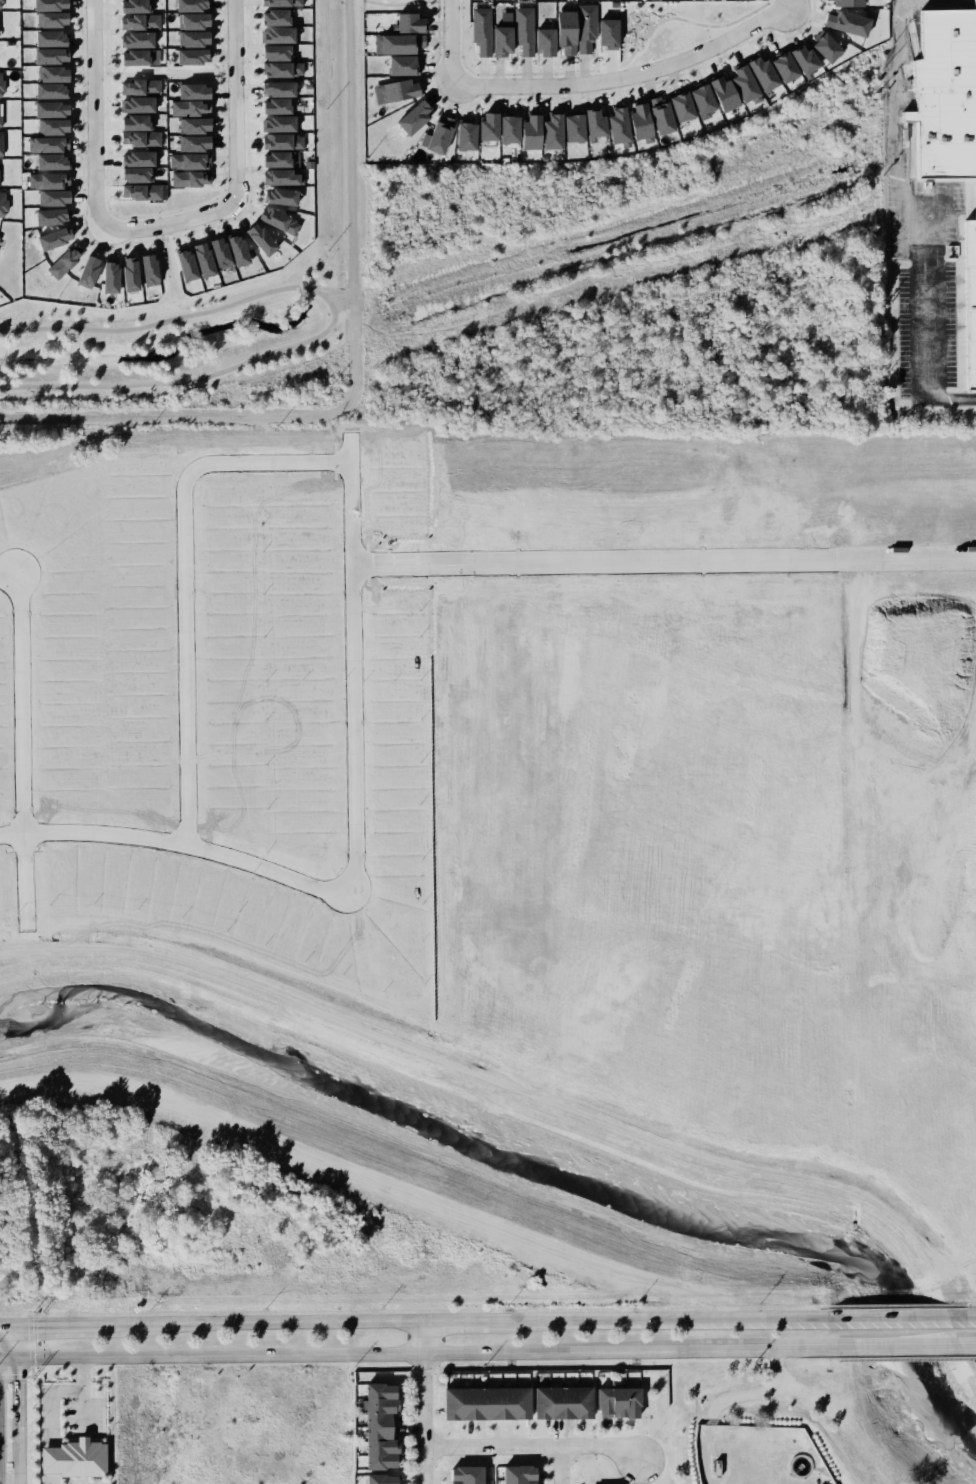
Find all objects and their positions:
building: (975, 1)
building: (281, 2)
building: (843, 2)
building: (1, 3)
road: (784, 3)
building: (45, 4)
building: (194, 4)
building: (139, 6)
building: (276, 17)
building: (47, 18)
building: (195, 20)
road: (642, 20)
building: (142, 21)
building: (403, 21)
building: (843, 22)
park: (675, 25)
road: (711, 25)
building: (1, 27)
building: (523, 29)
building: (591, 29)
building: (481, 30)
building: (564, 31)
building: (274, 35)
building: (44, 36)
road: (645, 36)
building: (141, 39)
building: (197, 39)
building: (501, 41)
building: (397, 42)
building: (545, 42)
road: (451, 43)
building: (819, 46)
road: (632, 52)
building: (279, 53)
building: (45, 55)
building: (195, 56)
building: (139, 57)
building: (796, 57)
building: (395, 63)
building: (778, 65)
building: (283, 68)
building: (756, 72)
building: (48, 73)
road: (625, 77)
building: (737, 82)
building: (0, 86)
building: (142, 87)
building: (274, 89)
building: (44, 90)
building: (391, 90)
building: (196, 91)
building: (718, 92)
building: (942, 92)
building: (696, 97)
road: (236, 100)
building: (142, 105)
building: (274, 105)
building: (674, 105)
building: (192, 107)
building: (45, 109)
road: (95, 112)
building: (2, 114)
building: (408, 115)
building: (654, 116)
building: (634, 119)
building: (138, 122)
building: (589, 122)
building: (275, 123)
building: (613, 124)
building: (196, 125)
building: (482, 125)
building: (502, 127)
building: (567, 127)
building: (49, 128)
building: (546, 130)
building: (525, 131)
building: (434, 134)
building: (460, 134)
building: (143, 139)
building: (279, 141)
building: (1, 143)
building: (197, 144)
building: (46, 145)
building: (143, 158)
building: (276, 159)
building: (47, 161)
building: (192, 161)
building: (3, 174)
building: (140, 174)
building: (280, 176)
building: (193, 179)
building: (47, 181)
building: (144, 191)
building: (280, 196)
building: (51, 198)
road: (910, 198)
building: (2, 203)
building: (49, 217)
building: (279, 220)
road: (169, 224)
road: (169, 235)
building: (258, 236)
road: (157, 238)
building: (51, 239)
building: (237, 250)
building: (220, 252)
building: (204, 259)
building: (60, 261)
building: (187, 266)
building: (144, 268)
building: (82, 271)
building: (123, 274)
road: (174, 275)
building: (104, 276)
road: (250, 297)
building: (965, 299)
road: (327, 300)
road: (92, 328)
park: (172, 336)
road: (354, 378)
road: (178, 380)
road: (947, 400)
road: (907, 559)
road: (597, 565)
road: (184, 577)
road: (20, 743)
crop: (477, 764)
road: (357, 845)
building: (1, 873)
road: (502, 1085)
river: (536, 1167)
road: (962, 1313)
road: (896, 1314)
road: (679, 1317)
road: (467, 1320)
road: (262, 1321)
road: (5, 1324)
road: (58, 1324)
traffic signals: (10, 1325)
road: (906, 1345)
road: (967, 1345)
road: (773, 1346)
road: (632, 1350)
road: (284, 1354)
traffic signals: (10, 1358)
road: (724, 1399)
road: (421, 1401)
building: (569, 1401)
building: (622, 1402)
building: (491, 1403)
road: (10, 1404)
parking lot: (62, 1404)
road: (52, 1409)
building: (385, 1427)
road: (5, 1430)
road: (531, 1447)
building: (78, 1460)
road: (557, 1465)
building: (799, 1466)
storage tank: (799, 1466)
building: (470, 1475)
building: (522, 1475)
building: (386, 1479)

